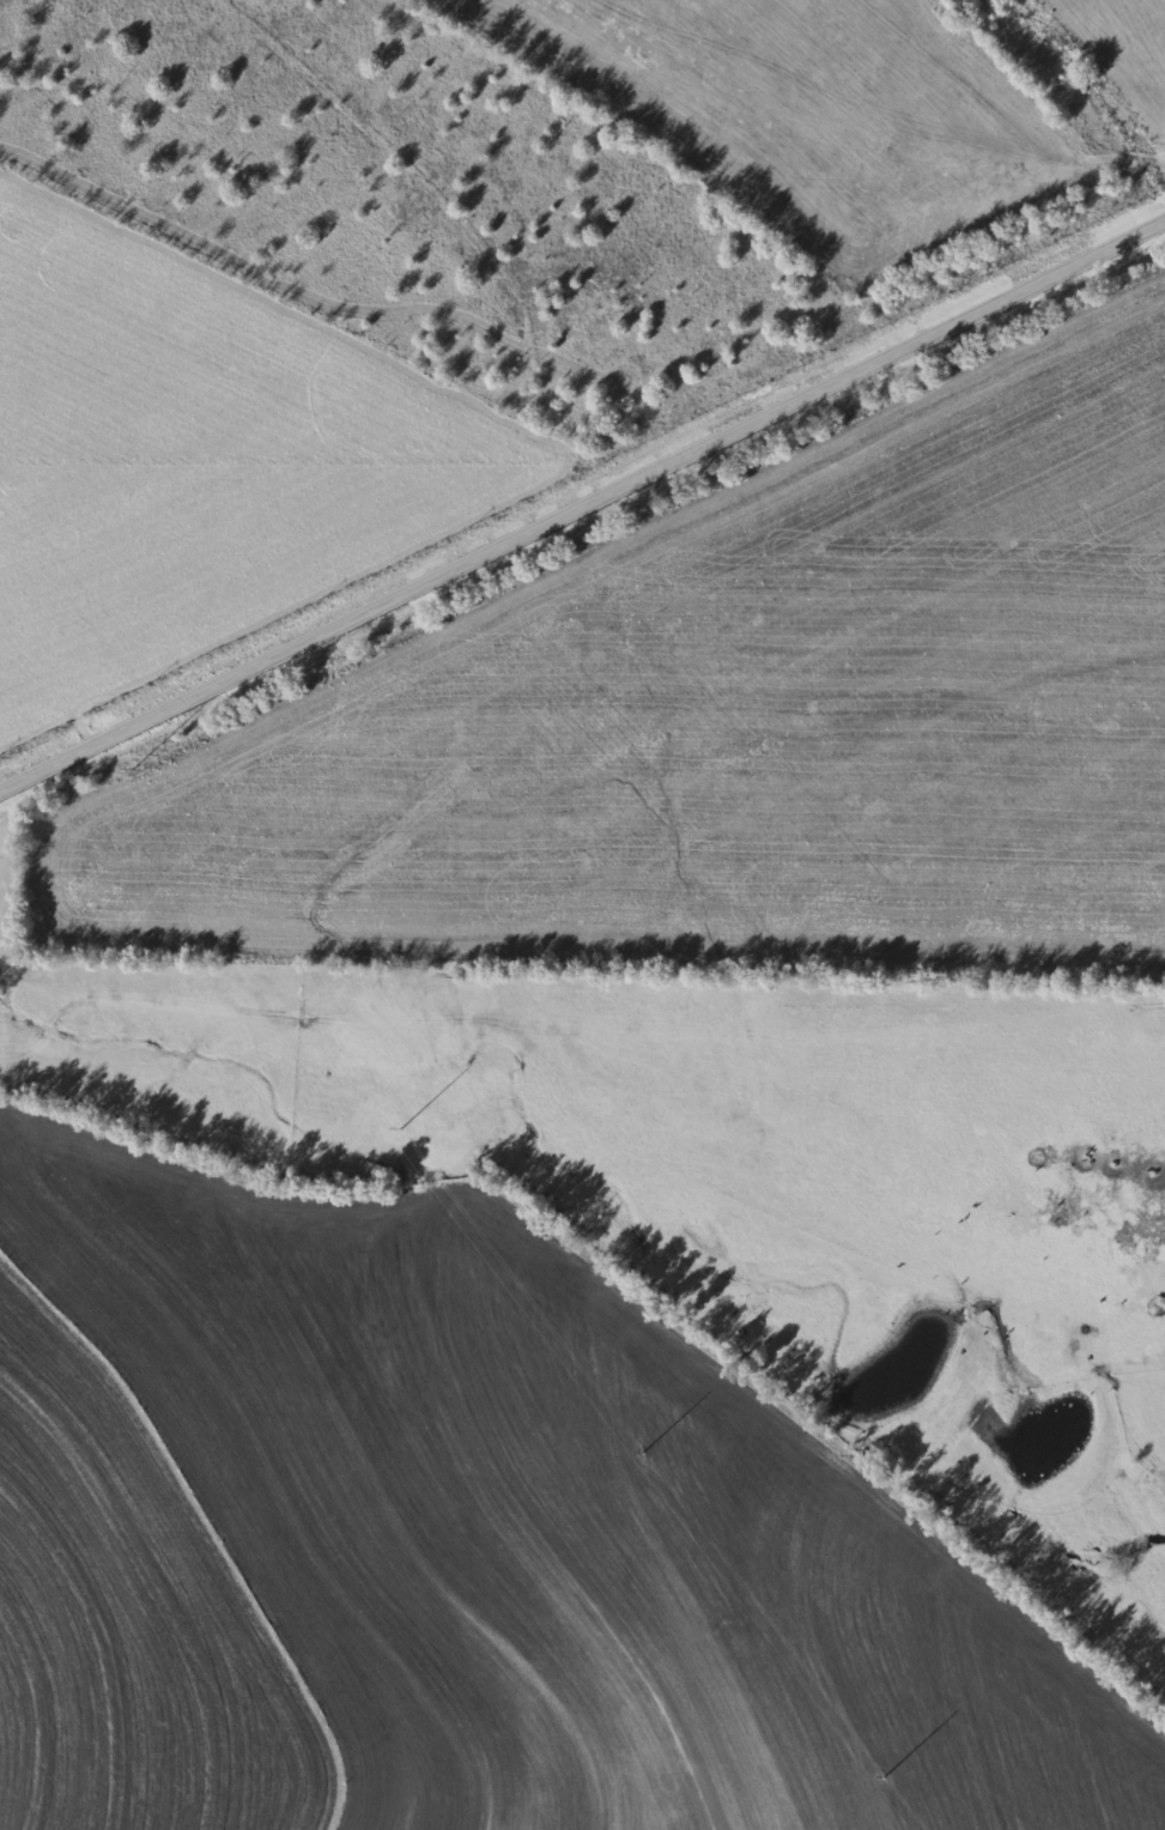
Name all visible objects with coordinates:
road: (582, 509)

